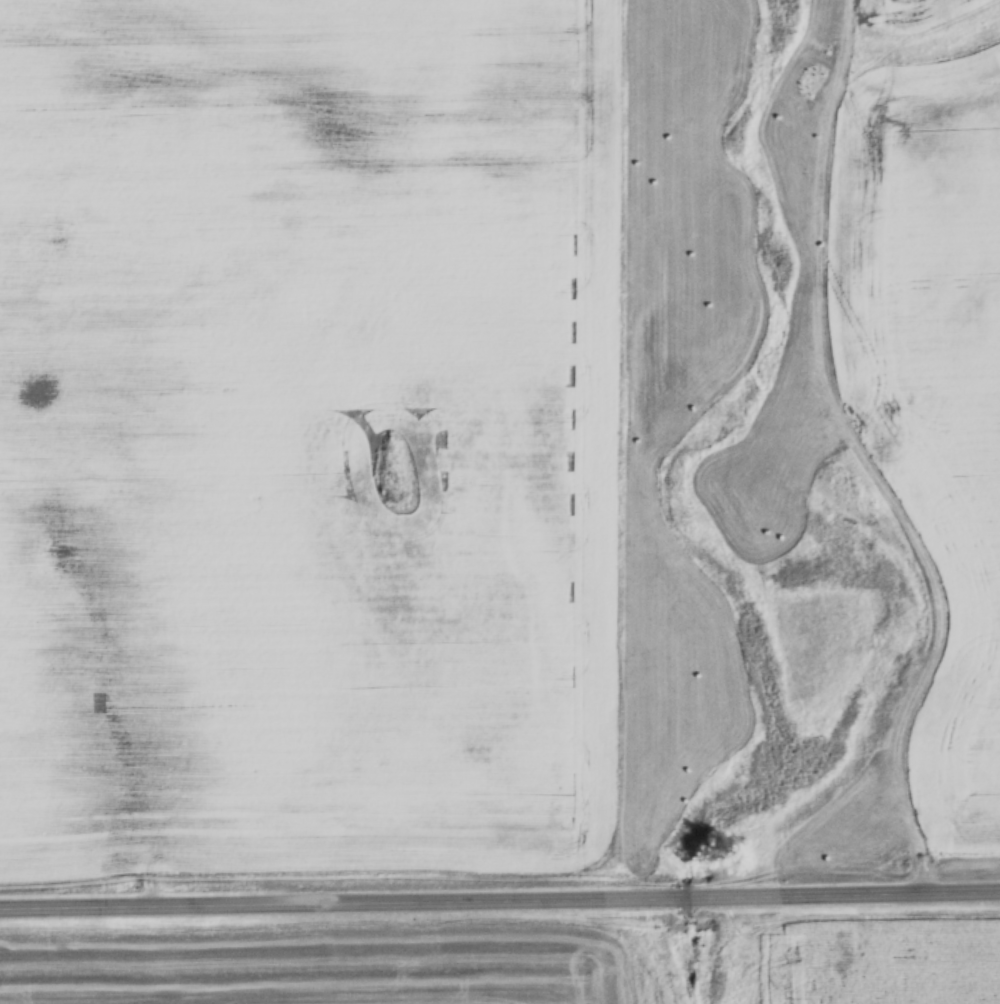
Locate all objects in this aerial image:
road: (500, 913)

